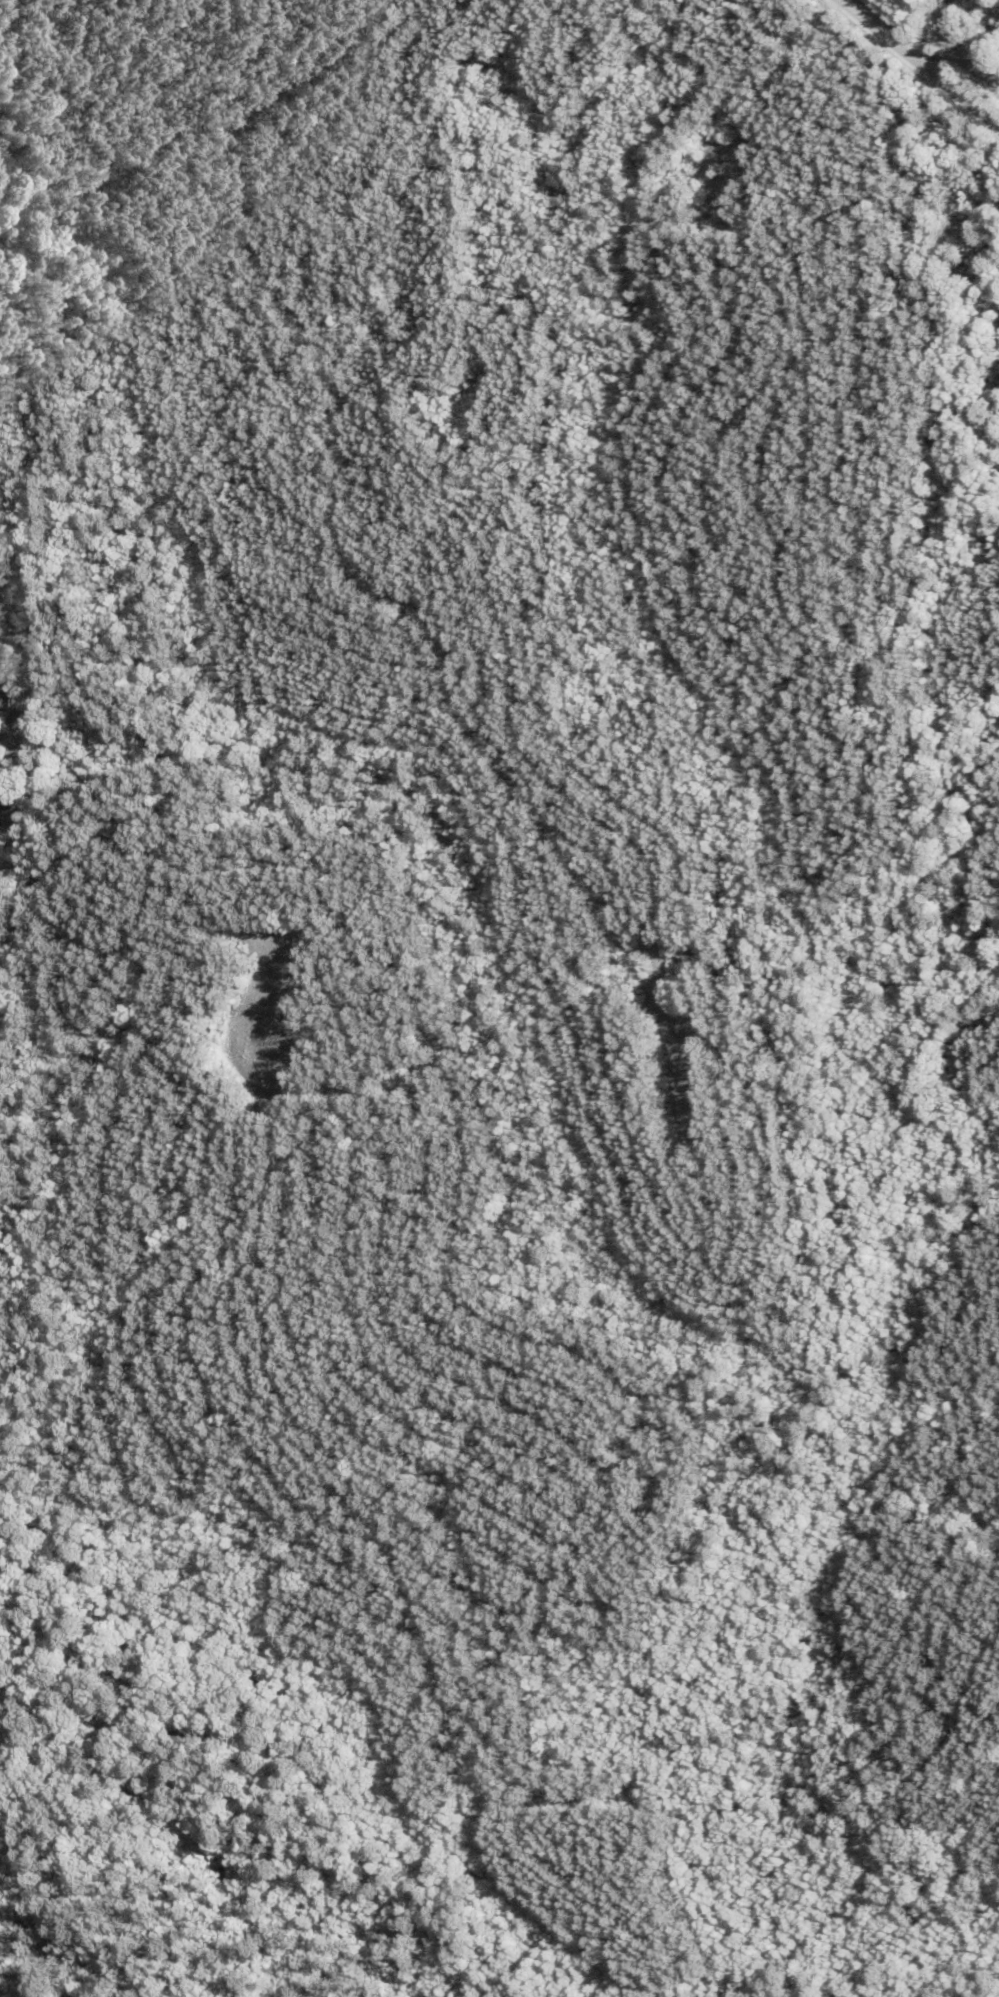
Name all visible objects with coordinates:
road: (919, 30)
road: (916, 67)
building: (8, 667)

